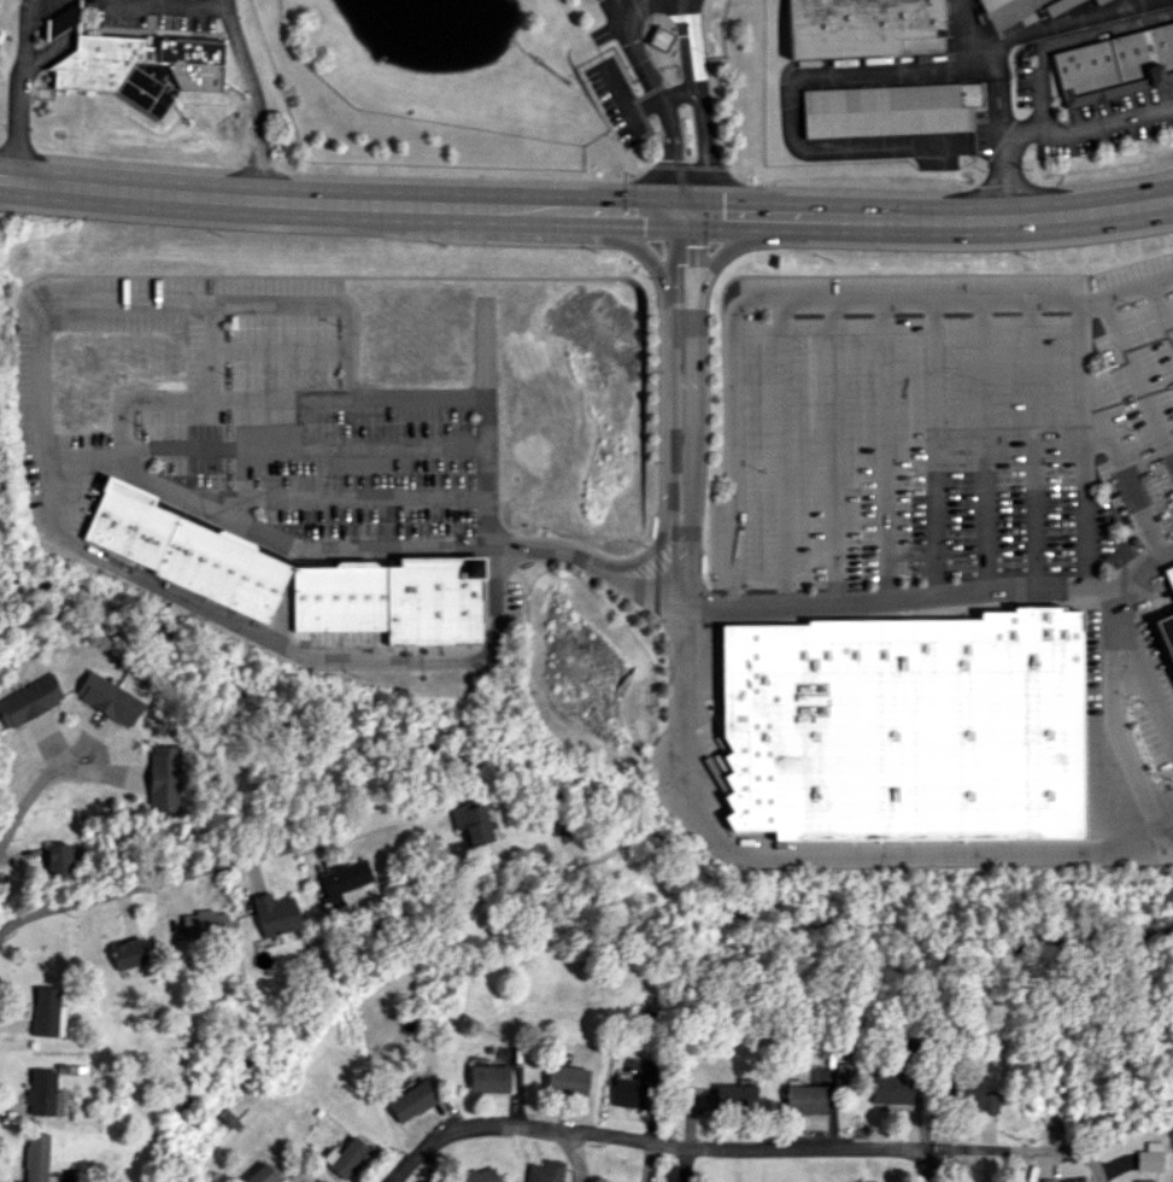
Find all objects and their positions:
road: (639, 0)
building: (1097, 0)
road: (156, 4)
building: (991, 4)
road: (223, 5)
building: (1058, 5)
road: (610, 6)
road: (628, 6)
road: (162, 7)
building: (858, 25)
road: (1028, 31)
road: (626, 36)
building: (659, 37)
building: (1116, 64)
building: (134, 68)
road: (903, 69)
road: (18, 89)
road: (659, 98)
road: (621, 99)
road: (253, 103)
building: (890, 107)
road: (700, 110)
road: (639, 112)
road: (1086, 124)
road: (669, 135)
road: (843, 148)
road: (999, 148)
road: (638, 156)
road: (686, 165)
road: (586, 209)
road: (680, 295)
road: (802, 299)
road: (223, 303)
road: (1163, 305)
road: (1138, 374)
building: (741, 392)
road: (215, 397)
road: (487, 427)
building: (811, 434)
road: (1031, 441)
road: (1085, 441)
road: (984, 444)
road: (937, 446)
road: (886, 449)
road: (838, 451)
road: (782, 454)
road: (1124, 480)
road: (170, 492)
road: (340, 498)
building: (181, 551)
building: (1168, 577)
building: (393, 601)
road: (738, 610)
building: (1165, 637)
road: (259, 639)
road: (1124, 674)
building: (106, 698)
building: (28, 701)
building: (897, 731)
building: (715, 761)
road: (1112, 761)
building: (163, 778)
road: (35, 790)
building: (469, 823)
road: (816, 858)
building: (58, 860)
road: (201, 867)
building: (342, 879)
building: (275, 914)
building: (203, 923)
road: (2, 929)
building: (128, 953)
building: (46, 1012)
building: (840, 1070)
building: (488, 1078)
building: (565, 1078)
building: (893, 1088)
building: (629, 1092)
building: (43, 1093)
building: (733, 1096)
building: (970, 1096)
building: (804, 1099)
building: (411, 1100)
road: (652, 1139)
road: (1030, 1154)
building: (35, 1157)
building: (345, 1157)
building: (1149, 1157)
road: (684, 1161)
road: (934, 1168)
building: (544, 1171)
building: (262, 1174)
building: (474, 1176)
building: (1142, 1181)

